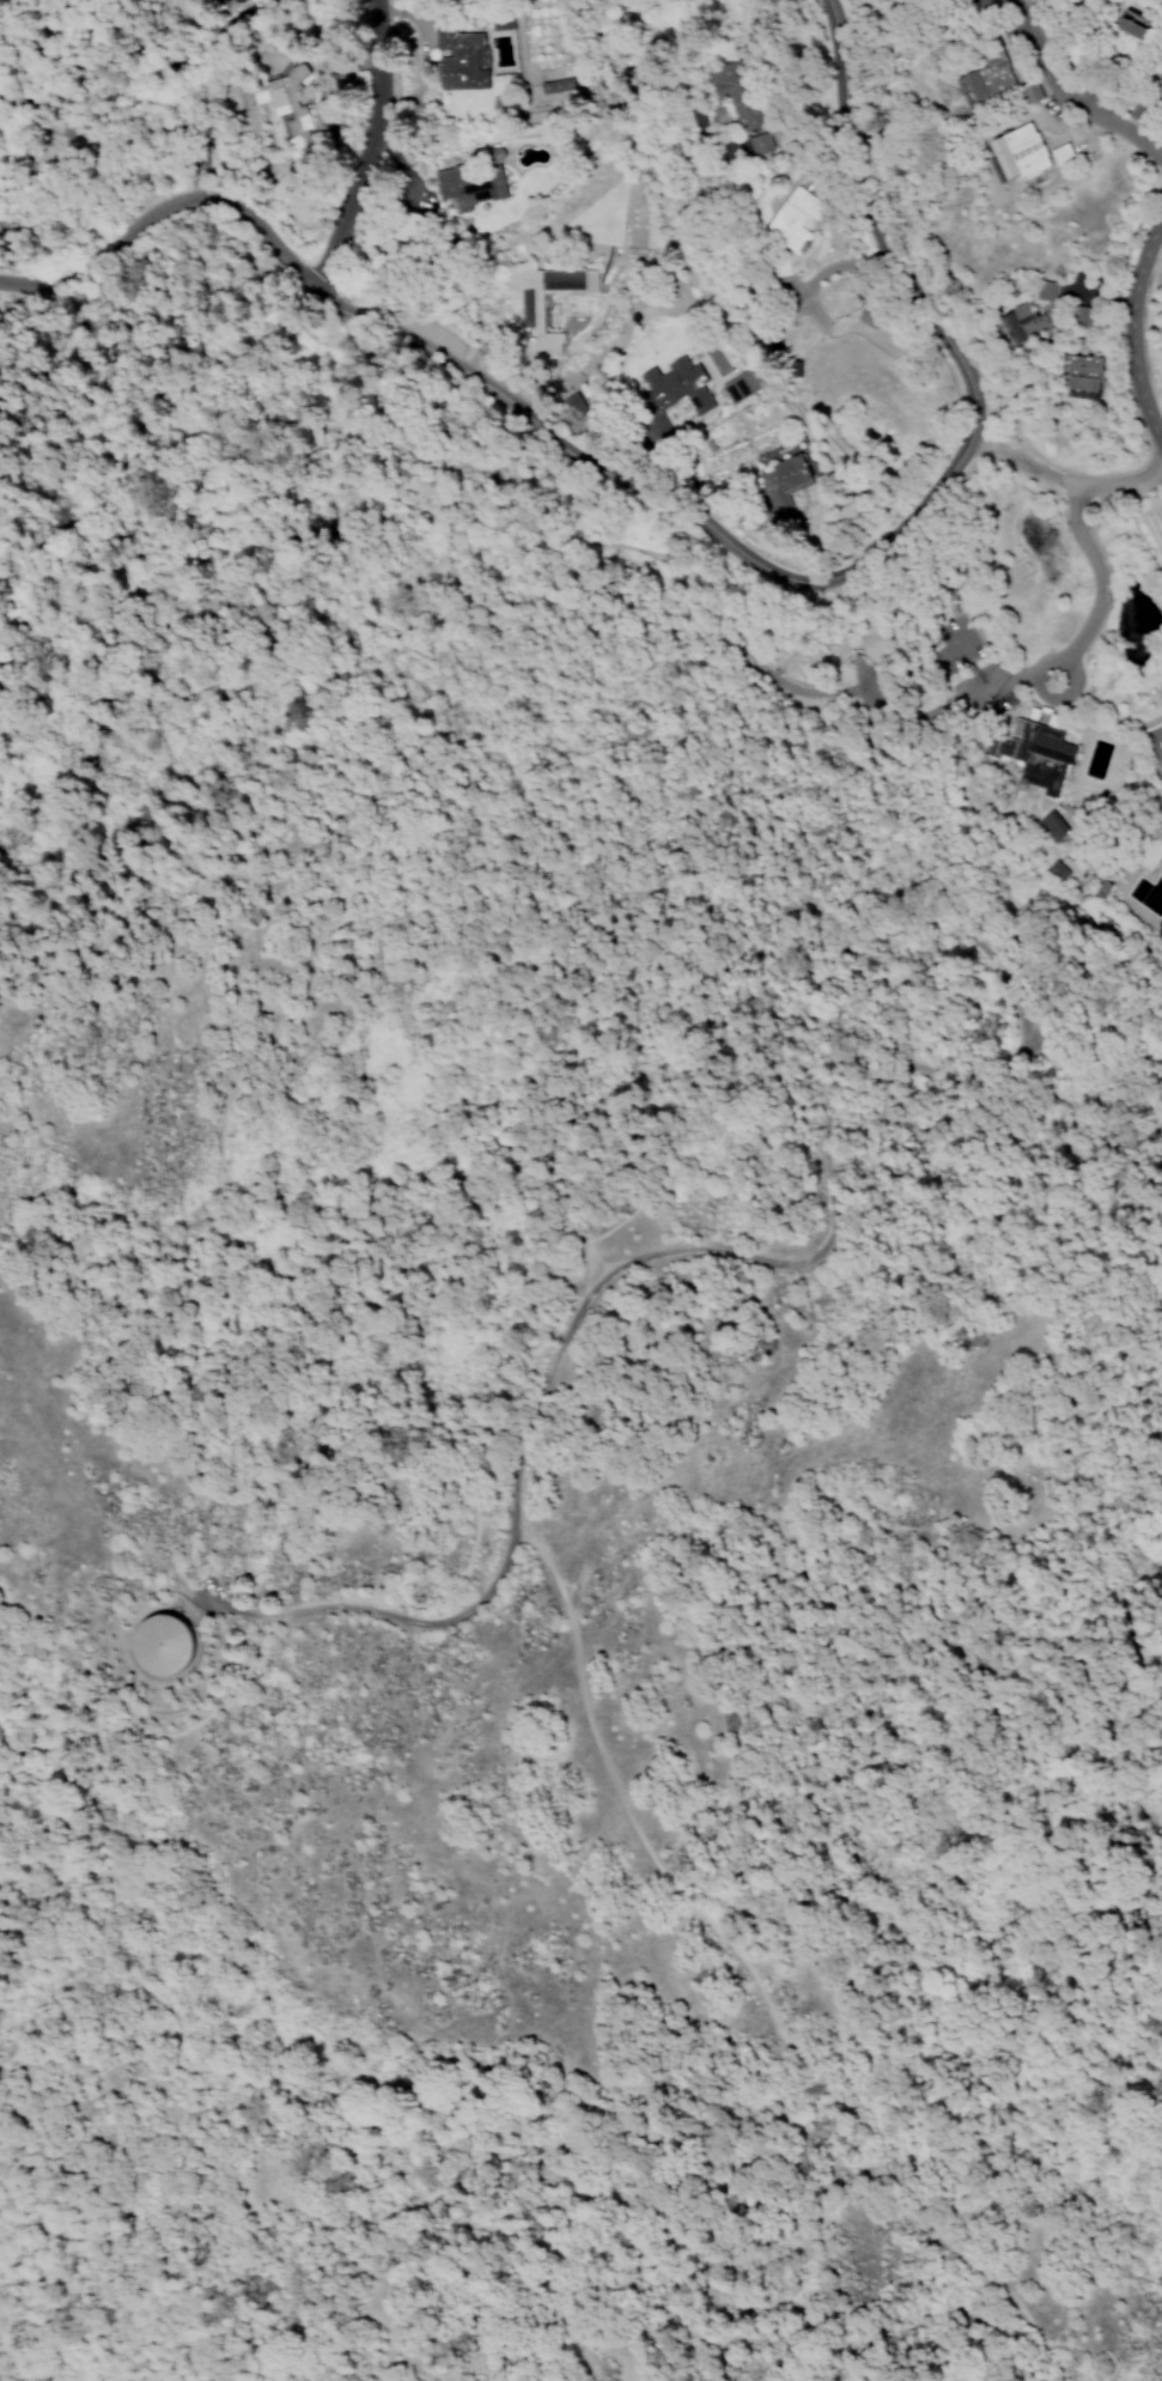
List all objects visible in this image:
building: (235, 1)
building: (731, 13)
building: (500, 23)
building: (1121, 37)
building: (460, 59)
building: (990, 79)
building: (555, 86)
building: (1156, 87)
road: (1066, 93)
road: (10, 101)
building: (738, 102)
building: (281, 104)
building: (677, 116)
road: (36, 117)
road: (145, 133)
road: (366, 145)
building: (1059, 153)
building: (1017, 156)
road: (200, 181)
building: (469, 184)
building: (791, 221)
building: (407, 227)
road: (263, 233)
road: (105, 244)
road: (841, 265)
building: (1044, 291)
building: (530, 309)
building: (863, 310)
building: (1078, 316)
building: (1021, 323)
road: (1115, 328)
parking lot: (426, 329)
road: (1127, 332)
building: (1081, 376)
building: (740, 387)
building: (669, 394)
road: (233, 424)
road: (1060, 469)
road: (1151, 469)
road: (1063, 476)
building: (783, 481)
road: (209, 511)
road: (925, 518)
crop: (1151, 535)
road: (859, 569)
road: (845, 581)
road: (1064, 696)
park: (1154, 743)
building: (1033, 752)
building: (1052, 825)
building: (1054, 870)
road: (813, 1062)
road: (825, 1136)
road: (523, 1286)
road: (1160, 1629)
building: (162, 1645)
storage tank: (164, 1646)
road: (24, 1741)
road: (42, 1766)
road: (20, 1770)
road: (53, 1828)
road: (255, 2046)
road: (105, 2255)

